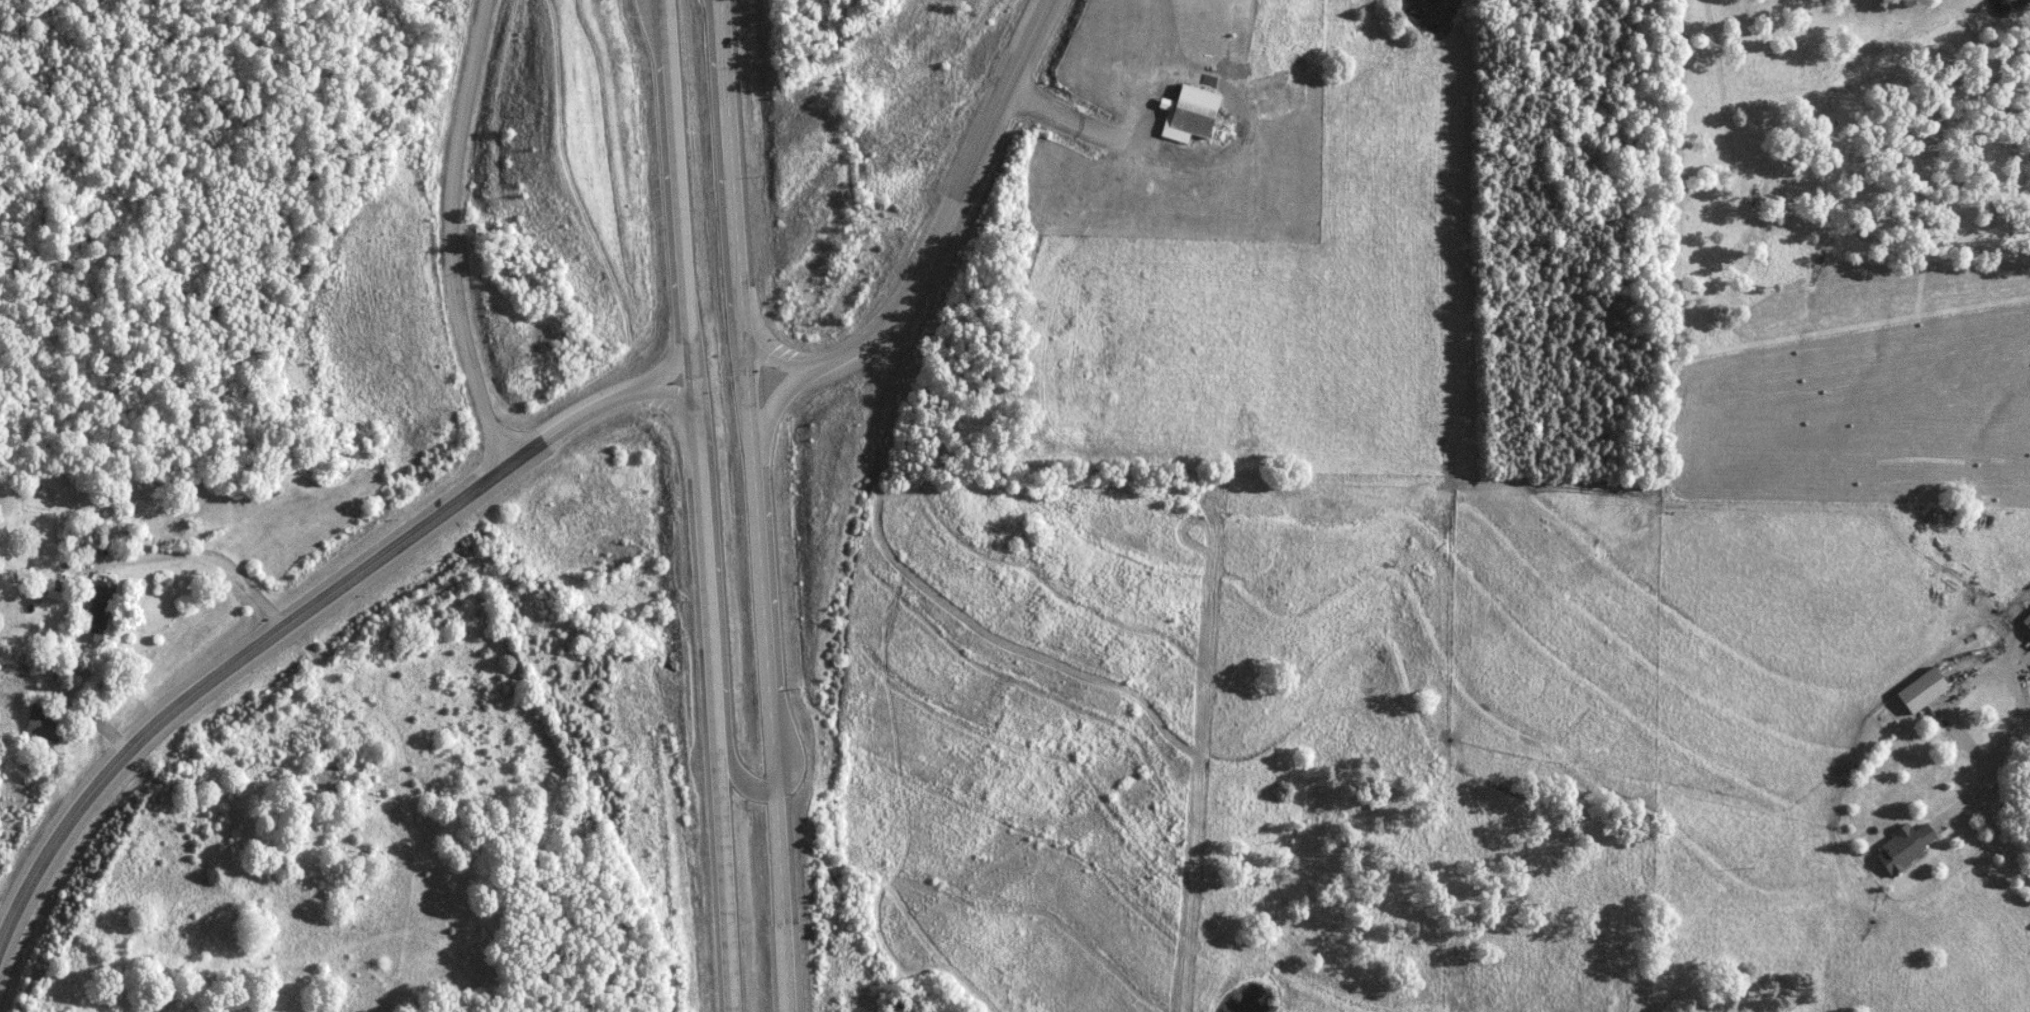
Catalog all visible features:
road: (654, 37)
road: (1169, 78)
building: (1195, 118)
road: (1179, 168)
road: (954, 196)
road: (725, 221)
road: (456, 243)
road: (773, 355)
road: (774, 407)
road: (756, 479)
road: (704, 505)
road: (208, 563)
building: (59, 583)
building: (100, 610)
building: (2028, 620)
road: (305, 623)
road: (724, 628)
road: (2017, 679)
building: (1926, 690)
road: (79, 711)
building: (45, 726)
road: (1963, 808)
road: (2000, 834)
building: (1908, 846)
road: (792, 985)

